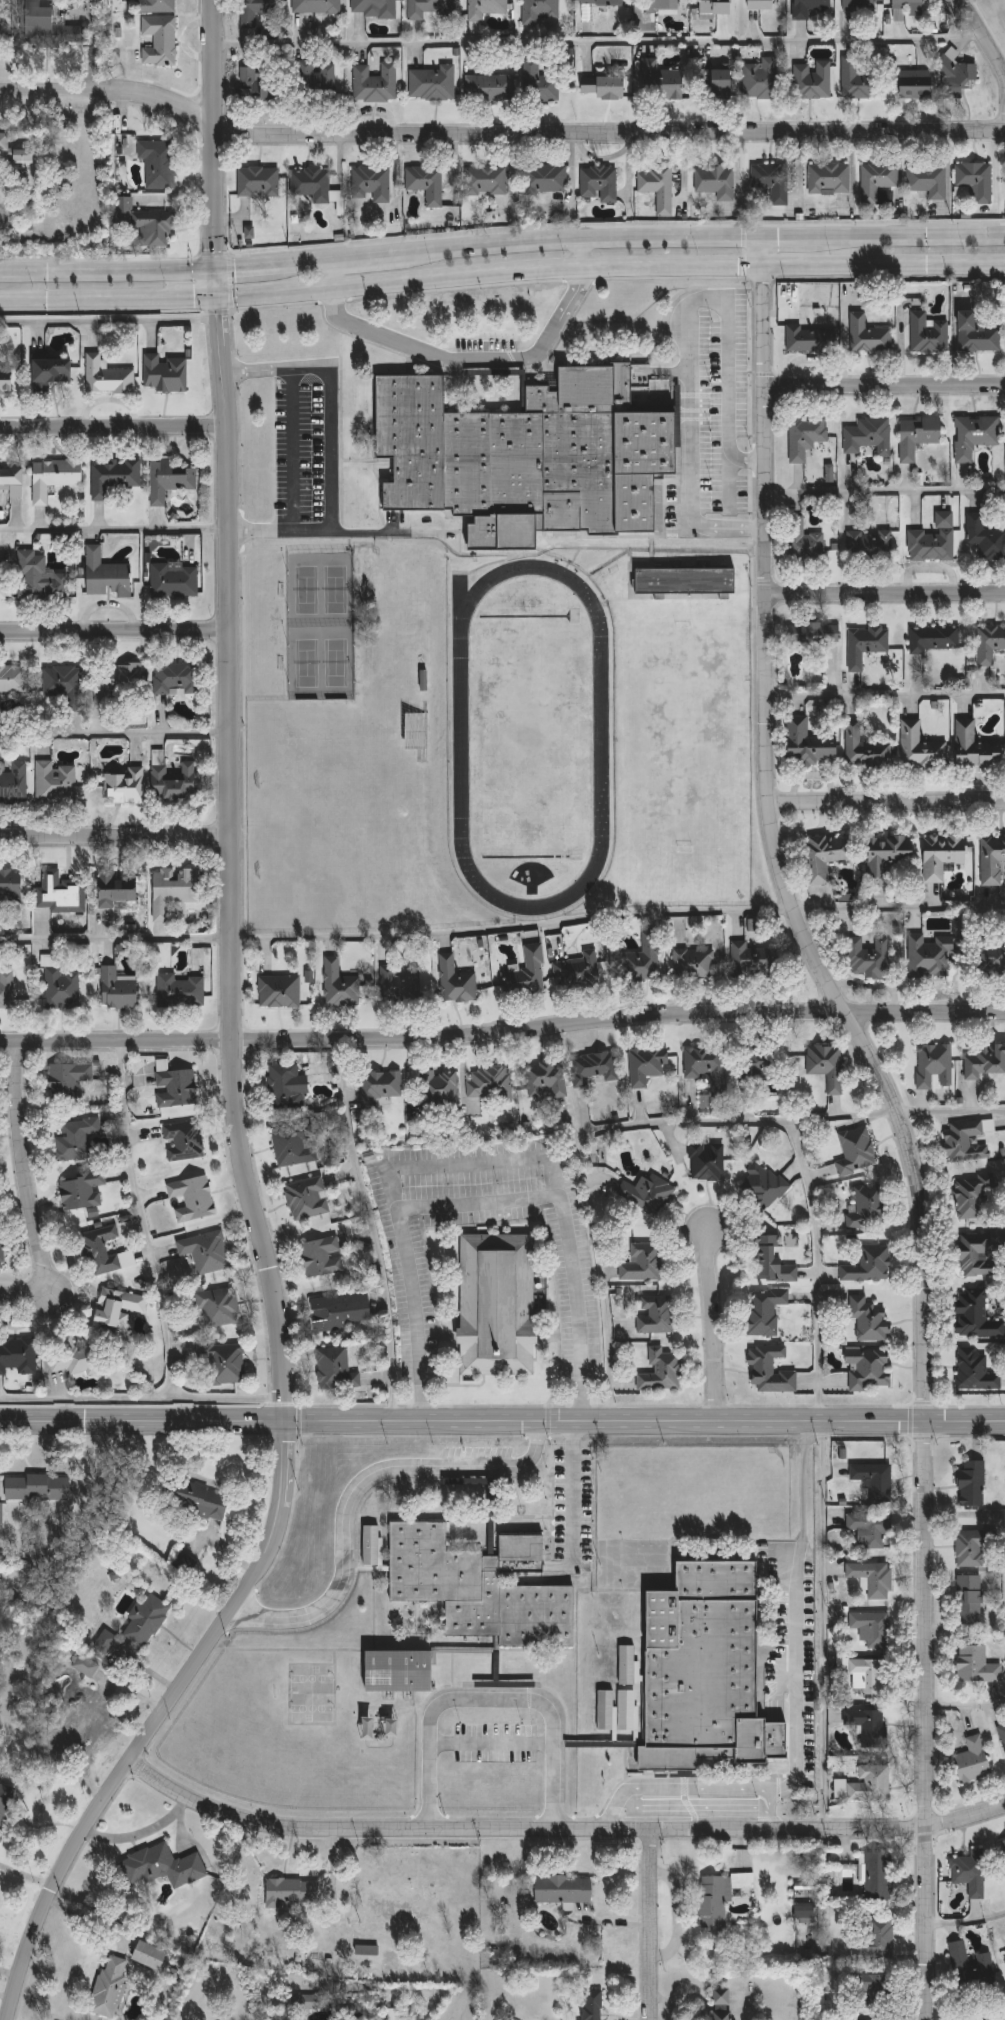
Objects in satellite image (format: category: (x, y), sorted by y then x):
building: (601, 2)
building: (763, 4)
building: (156, 6)
building: (316, 6)
building: (660, 6)
building: (858, 6)
building: (375, 7)
building: (714, 7)
building: (430, 8)
building: (485, 8)
building: (808, 8)
building: (907, 9)
building: (253, 10)
park: (998, 10)
building: (538, 11)
park: (997, 13)
building: (48, 25)
building: (475, 27)
building: (159, 39)
road: (596, 40)
road: (984, 40)
building: (954, 70)
building: (315, 78)
building: (760, 78)
building: (859, 79)
building: (682, 80)
building: (812, 80)
building: (375, 82)
building: (431, 83)
building: (539, 83)
building: (915, 83)
building: (258, 85)
building: (488, 88)
building: (606, 88)
road: (211, 135)
road: (498, 135)
building: (14, 149)
building: (158, 162)
road: (948, 168)
building: (546, 177)
building: (828, 177)
building: (485, 180)
building: (714, 180)
building: (770, 180)
building: (875, 180)
building: (927, 180)
building: (974, 180)
building: (258, 181)
building: (310, 182)
building: (426, 182)
building: (367, 183)
building: (598, 183)
building: (658, 187)
building: (145, 220)
building: (249, 232)
road: (903, 234)
road: (783, 235)
road: (576, 237)
road: (765, 250)
road: (584, 251)
road: (358, 257)
road: (300, 263)
road: (885, 264)
road: (244, 268)
traffic signals: (216, 271)
road: (108, 272)
road: (331, 275)
road: (382, 284)
traffic signals: (218, 299)
road: (691, 331)
building: (979, 334)
building: (869, 335)
building: (929, 335)
building: (812, 340)
parking lot: (485, 344)
road: (469, 364)
road: (249, 370)
building: (53, 371)
building: (166, 374)
building: (109, 378)
building: (6, 382)
road: (886, 389)
parking lot: (710, 410)
road: (113, 432)
building: (918, 436)
building: (975, 436)
building: (806, 437)
building: (869, 437)
parking lot: (306, 447)
road: (328, 451)
building: (528, 451)
road: (750, 457)
building: (12, 476)
building: (55, 477)
building: (114, 477)
building: (171, 480)
road: (886, 491)
road: (732, 493)
road: (114, 528)
road: (251, 528)
road: (749, 529)
building: (985, 538)
building: (935, 541)
building: (804, 542)
building: (870, 545)
building: (107, 576)
building: (4, 579)
building: (40, 579)
building: (176, 581)
building: (686, 581)
road: (886, 598)
road: (115, 635)
building: (815, 635)
building: (935, 639)
building: (867, 644)
building: (990, 644)
building: (13, 679)
building: (177, 679)
building: (116, 682)
road: (886, 685)
building: (66, 686)
road: (116, 732)
building: (416, 732)
building: (809, 745)
building: (921, 748)
building: (866, 749)
building: (977, 750)
building: (175, 783)
building: (15, 784)
building: (55, 784)
building: (126, 787)
road: (887, 806)
road: (117, 837)
building: (943, 855)
building: (828, 856)
building: (888, 858)
building: (992, 859)
building: (116, 889)
building: (175, 890)
building: (62, 893)
building: (11, 894)
road: (899, 905)
road: (513, 920)
road: (118, 938)
building: (931, 956)
building: (992, 957)
building: (869, 958)
building: (643, 961)
building: (753, 962)
building: (695, 964)
building: (579, 971)
building: (526, 973)
building: (457, 981)
building: (402, 985)
building: (341, 986)
building: (63, 988)
building: (7, 990)
building: (119, 991)
building: (180, 991)
building: (280, 992)
road: (502, 1035)
building: (984, 1061)
building: (760, 1064)
building: (648, 1065)
building: (826, 1065)
building: (935, 1065)
building: (708, 1066)
building: (594, 1068)
building: (547, 1079)
building: (68, 1081)
building: (491, 1084)
building: (381, 1086)
building: (285, 1087)
building: (177, 1089)
building: (441, 1089)
road: (951, 1108)
road: (697, 1113)
road: (905, 1128)
building: (364, 1133)
building: (77, 1140)
building: (184, 1141)
building: (967, 1141)
building: (295, 1145)
building: (857, 1151)
road: (474, 1157)
building: (707, 1162)
road: (251, 1182)
building: (764, 1185)
building: (82, 1191)
road: (28, 1193)
building: (648, 1194)
building: (971, 1196)
building: (194, 1198)
building: (308, 1198)
road: (479, 1203)
building: (868, 1208)
road: (815, 1216)
road: (141, 1220)
road: (373, 1230)
building: (105, 1251)
building: (2, 1252)
building: (207, 1253)
building: (982, 1254)
building: (323, 1257)
building: (772, 1262)
building: (644, 1263)
road: (609, 1264)
building: (870, 1266)
building: (495, 1305)
building: (220, 1306)
building: (119, 1308)
building: (342, 1311)
building: (766, 1312)
building: (657, 1315)
building: (976, 1316)
building: (870, 1321)
road: (716, 1326)
building: (18, 1356)
building: (77, 1358)
building: (226, 1363)
building: (336, 1369)
building: (868, 1369)
building: (663, 1371)
building: (771, 1371)
building: (975, 1371)
road: (142, 1397)
road: (502, 1421)
building: (874, 1479)
road: (208, 1480)
building: (973, 1484)
road: (358, 1486)
building: (37, 1488)
road: (573, 1492)
building: (202, 1501)
building: (1, 1514)
building: (871, 1527)
building: (372, 1547)
building: (973, 1547)
road: (227, 1549)
building: (874, 1579)
building: (481, 1588)
building: (971, 1600)
building: (147, 1621)
road: (821, 1627)
building: (873, 1629)
building: (105, 1641)
building: (977, 1665)
building: (87, 1666)
building: (628, 1667)
building: (706, 1671)
building: (400, 1672)
building: (868, 1677)
road: (494, 1698)
road: (967, 1704)
building: (605, 1709)
building: (628, 1710)
building: (76, 1720)
building: (868, 1727)
building: (1003, 1734)
building: (973, 1760)
building: (871, 1784)
road: (692, 1788)
road: (692, 1807)
building: (5, 1808)
road: (561, 1833)
building: (1004, 1843)
building: (163, 1867)
building: (973, 1873)
building: (879, 1877)
building: (564, 1890)
building: (295, 1891)
building: (719, 1898)
building: (805, 1912)
road: (967, 1920)
road: (650, 1926)
building: (876, 1941)
building: (367, 1949)
building: (1004, 1952)
building: (500, 1954)
building: (150, 1955)
building: (971, 1967)
building: (111, 1986)
building: (871, 1991)
building: (306, 2001)
building: (722, 2004)
building: (593, 2005)
building: (388, 2014)
building: (868, 2019)

